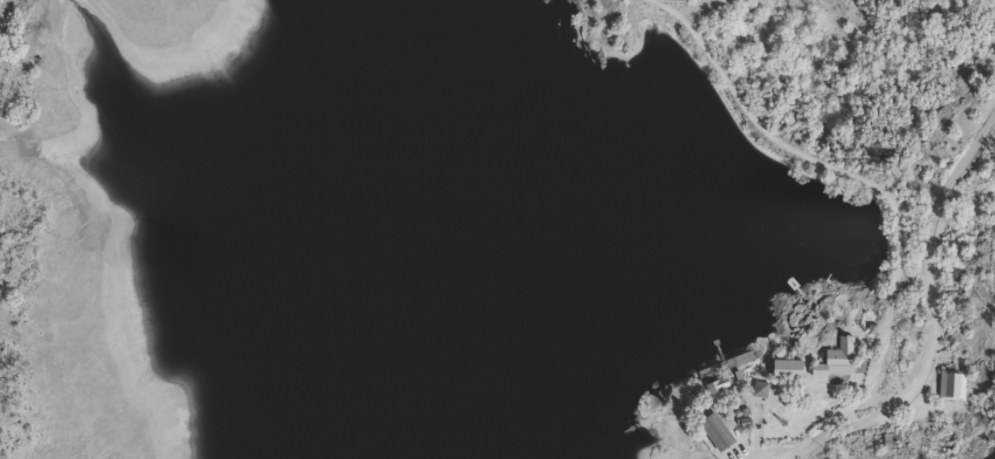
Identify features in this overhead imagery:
dam: (743, 108)
road: (883, 109)
road: (929, 314)
building: (839, 359)
building: (789, 368)
building: (953, 386)
building: (718, 389)
building: (762, 390)
building: (651, 404)
building: (718, 432)

